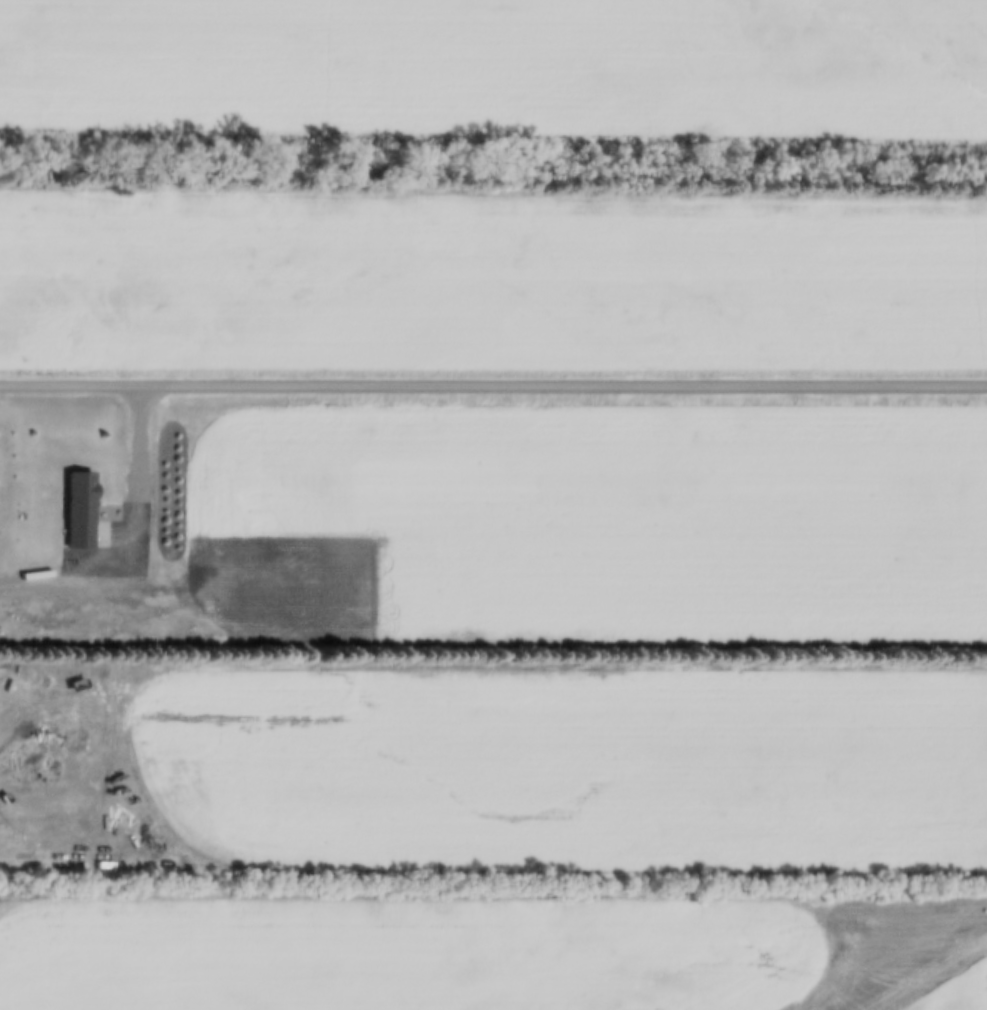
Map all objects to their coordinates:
road: (493, 390)
building: (77, 511)

